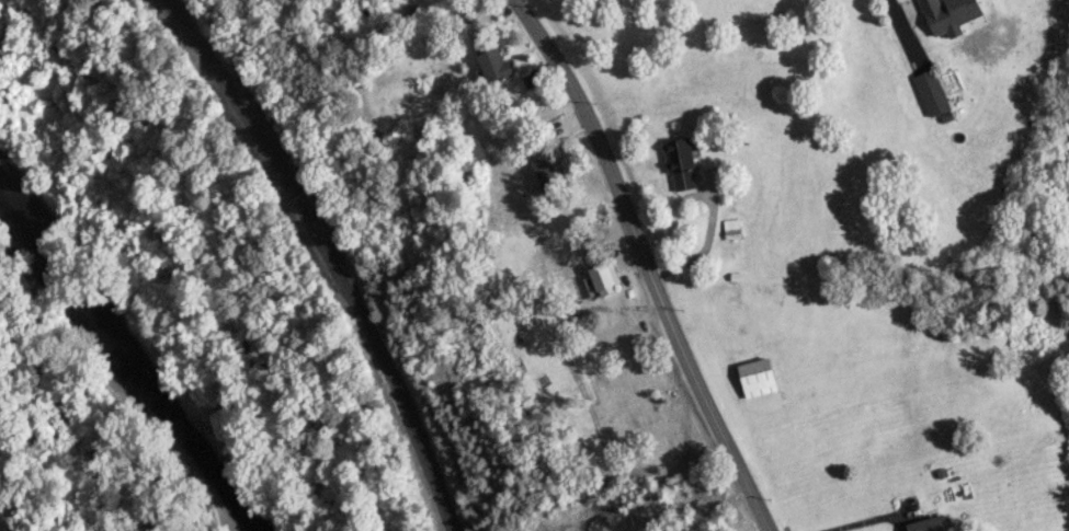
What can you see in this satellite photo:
road: (896, 11)
building: (949, 14)
building: (494, 66)
building: (932, 92)
building: (680, 163)
building: (548, 175)
building: (731, 229)
railway: (327, 254)
road: (647, 261)
building: (604, 277)
building: (758, 378)
park: (68, 426)
road: (858, 522)
building: (926, 524)

